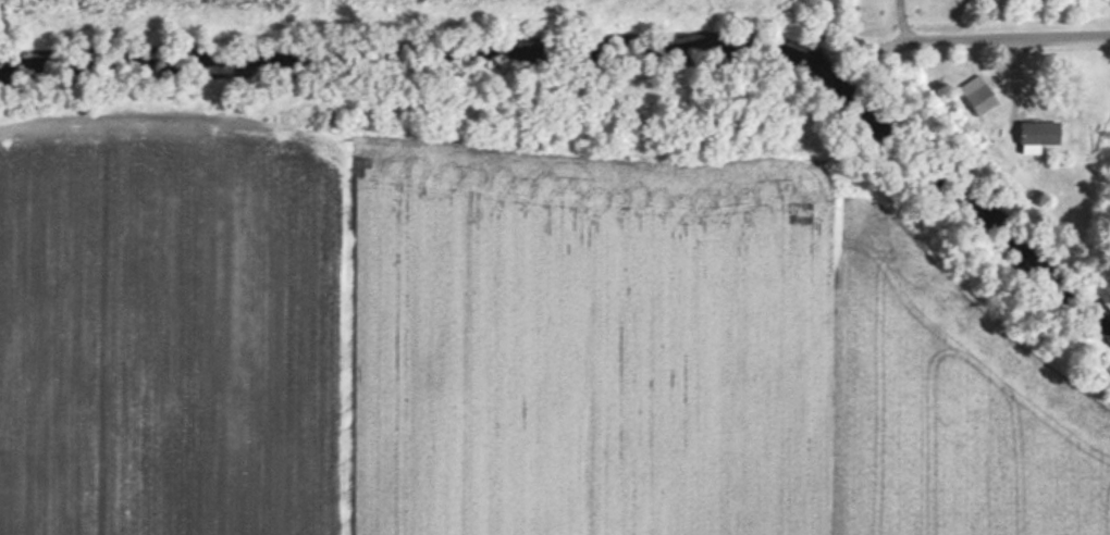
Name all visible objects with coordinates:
road: (900, 16)
building: (974, 99)
building: (1028, 133)
road: (824, 138)

